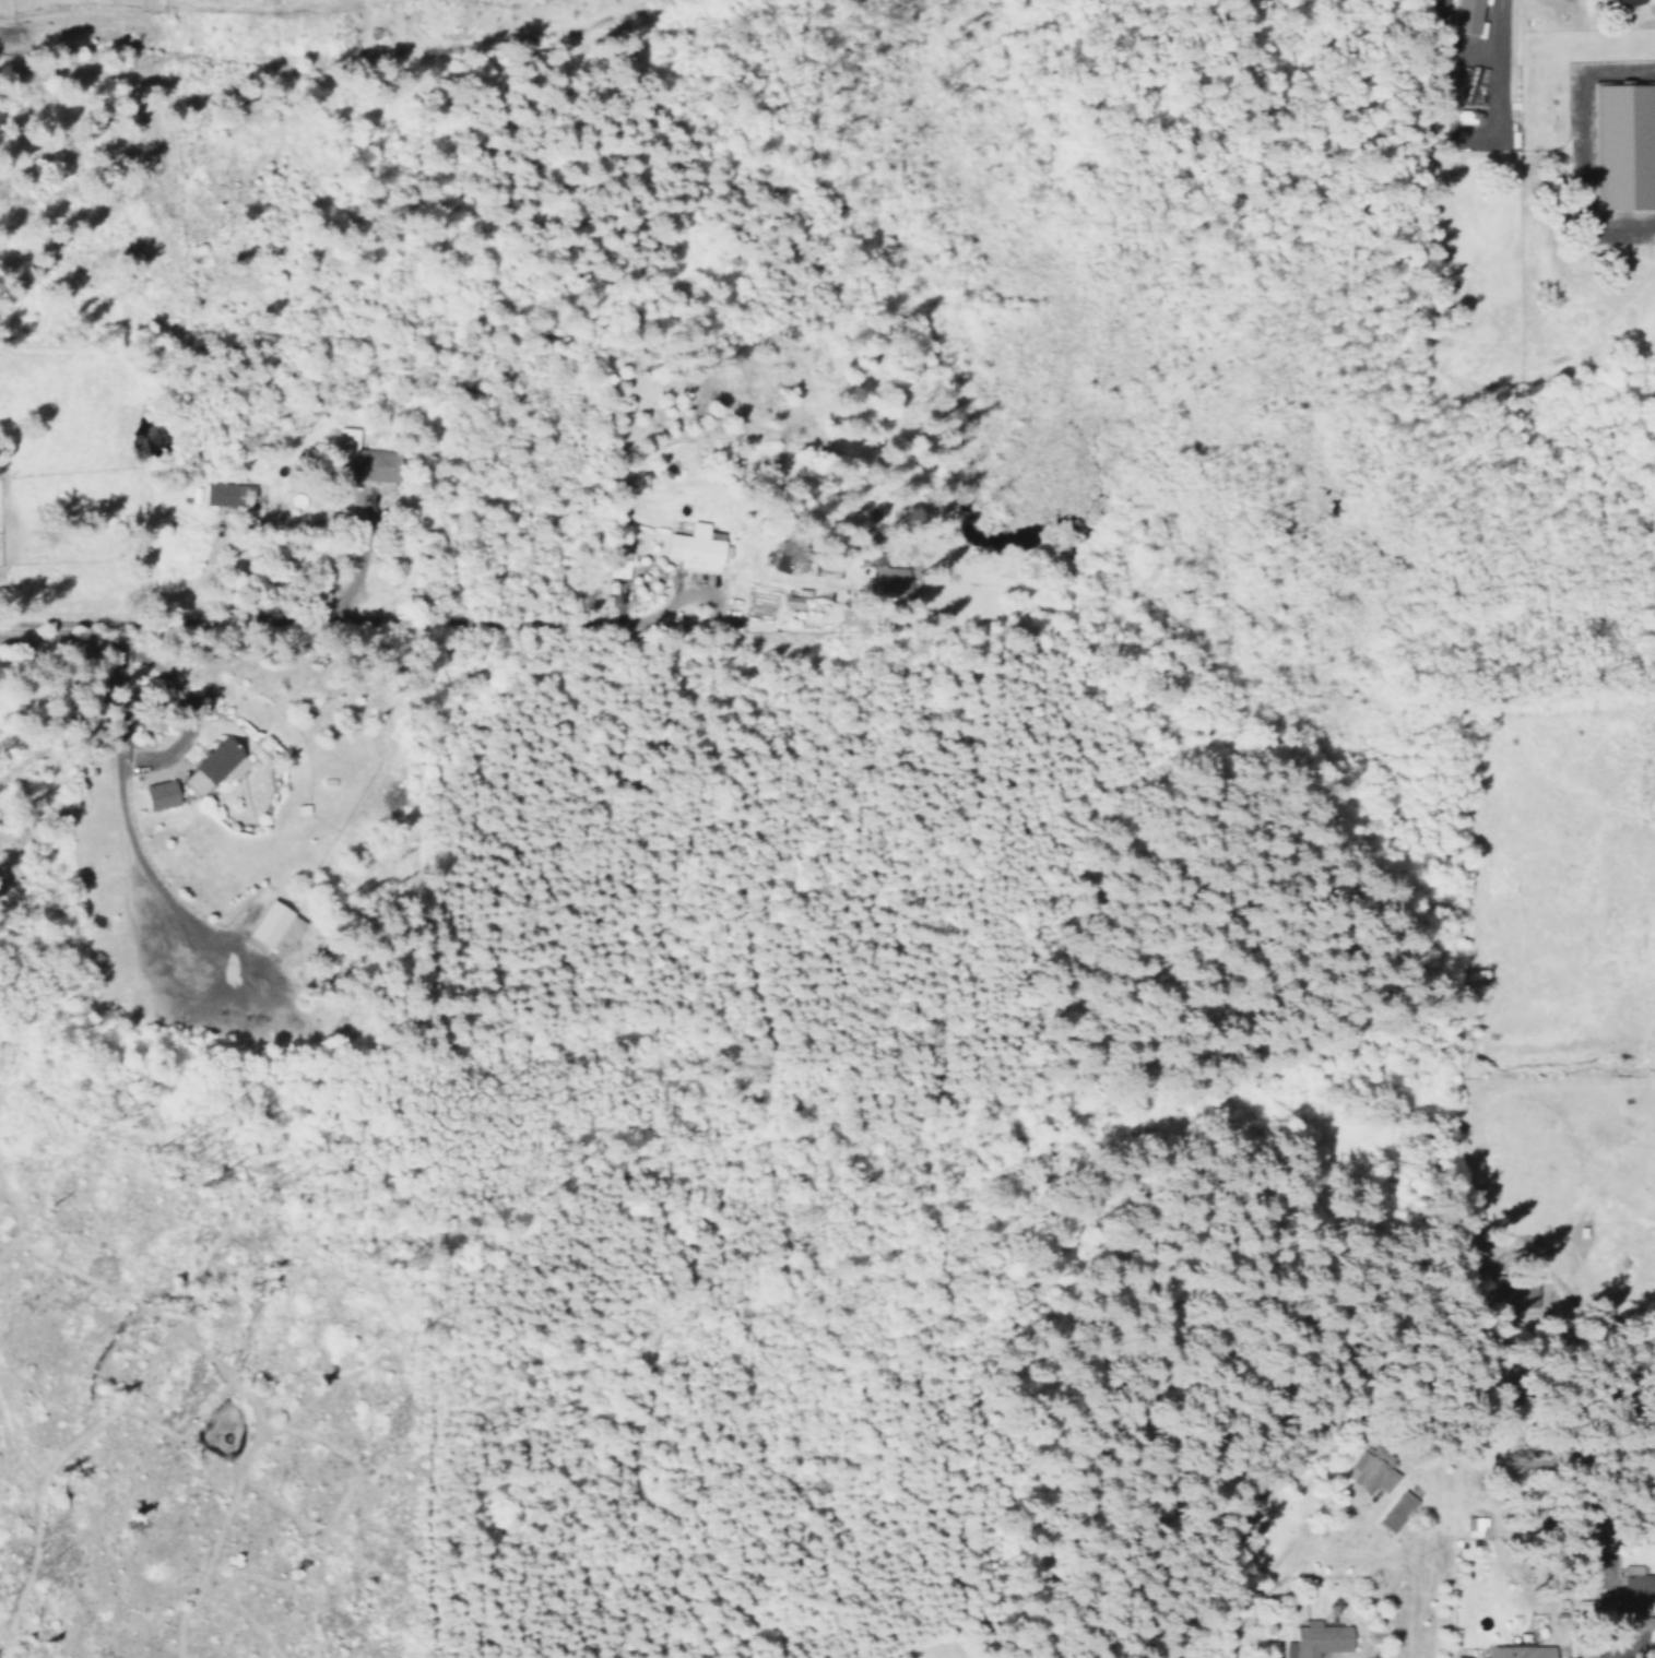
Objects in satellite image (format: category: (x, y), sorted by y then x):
building: (1621, 3)
building: (1462, 16)
building: (1459, 84)
building: (1620, 146)
building: (225, 494)
building: (694, 547)
building: (781, 558)
building: (616, 568)
building: (890, 578)
building: (791, 602)
road: (414, 620)
building: (215, 763)
building: (165, 793)
building: (271, 927)
building: (1521, 1290)
building: (1374, 1476)
building: (1396, 1511)
building: (1636, 1591)
building: (1591, 1607)
building: (1319, 1639)
building: (1518, 1651)
building: (1461, 1656)

